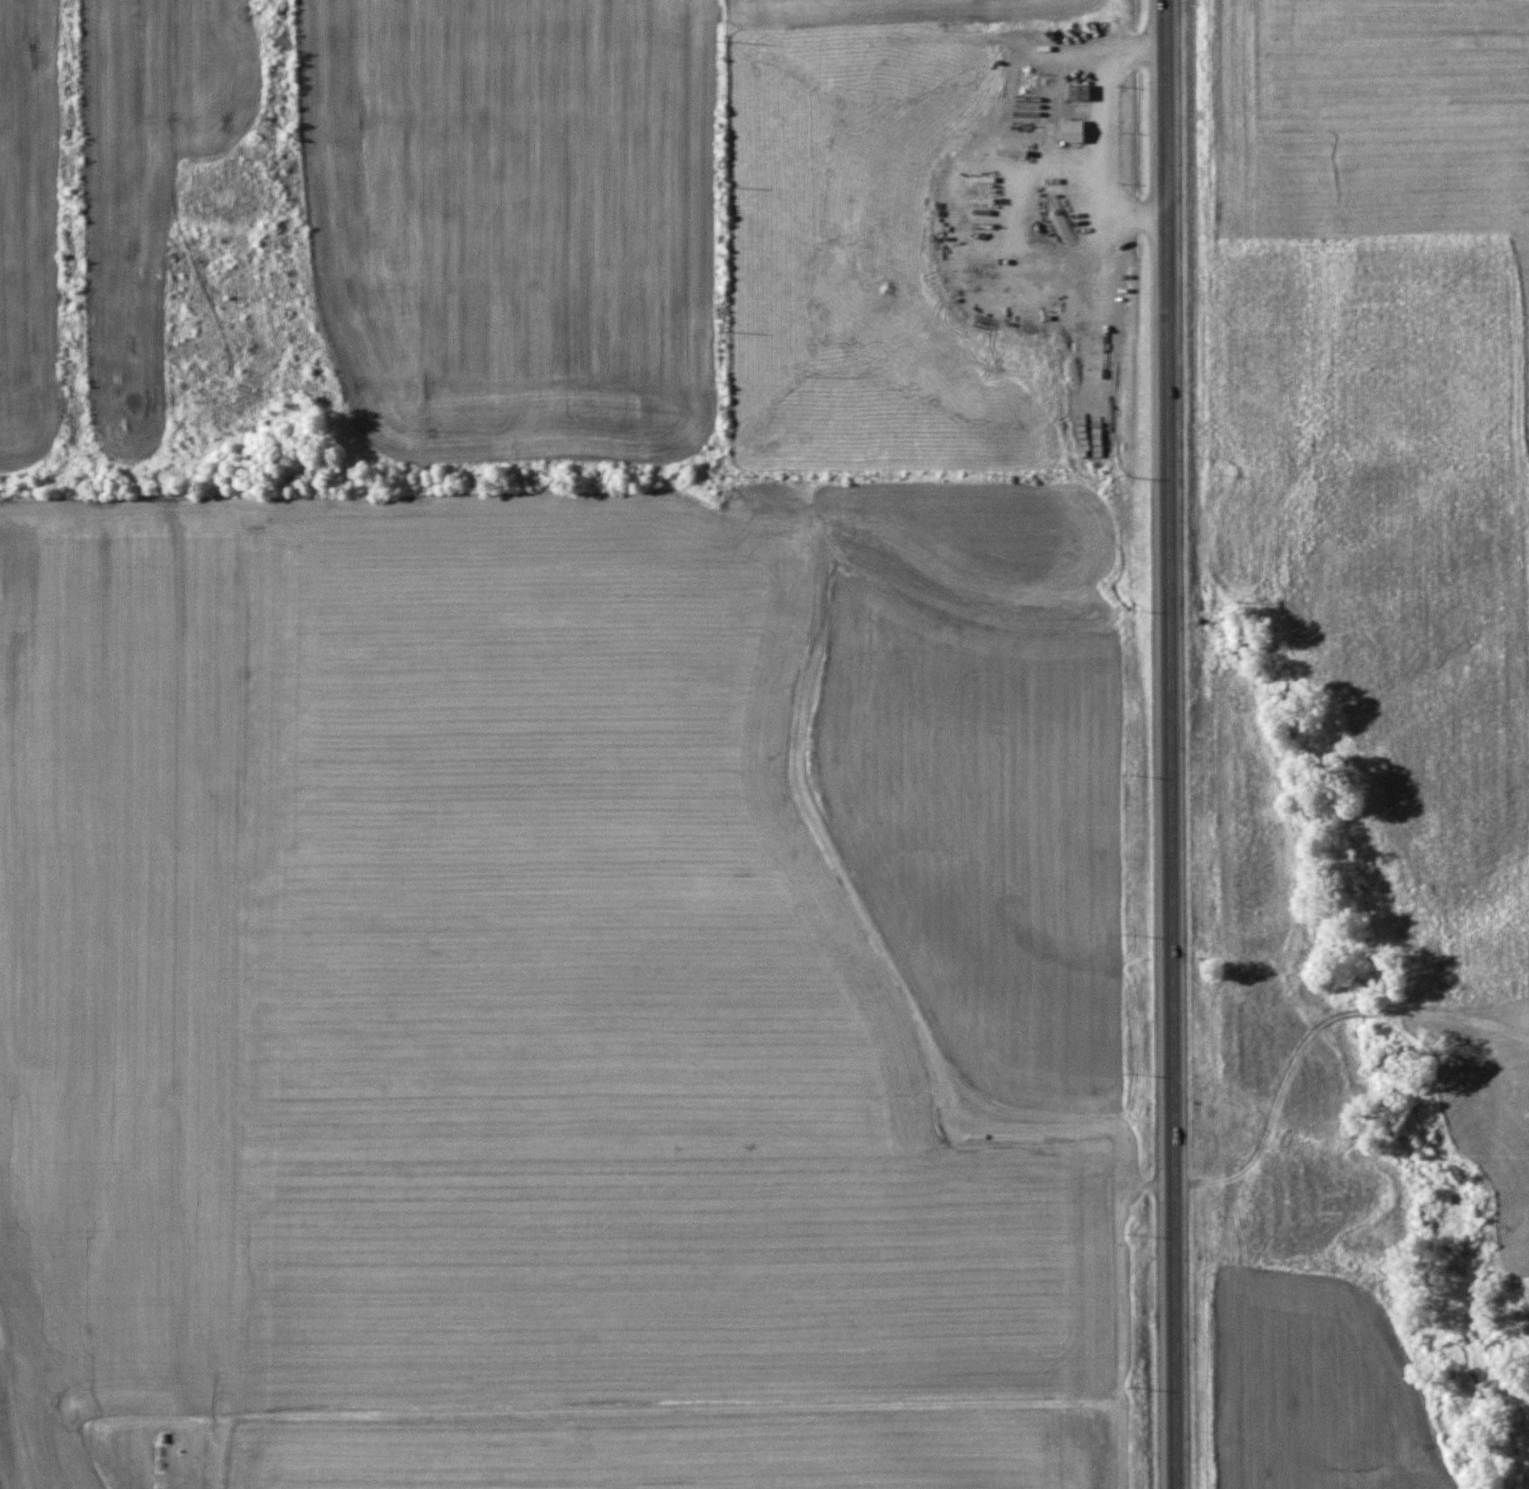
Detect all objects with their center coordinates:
building: (1072, 132)
road: (1172, 744)

